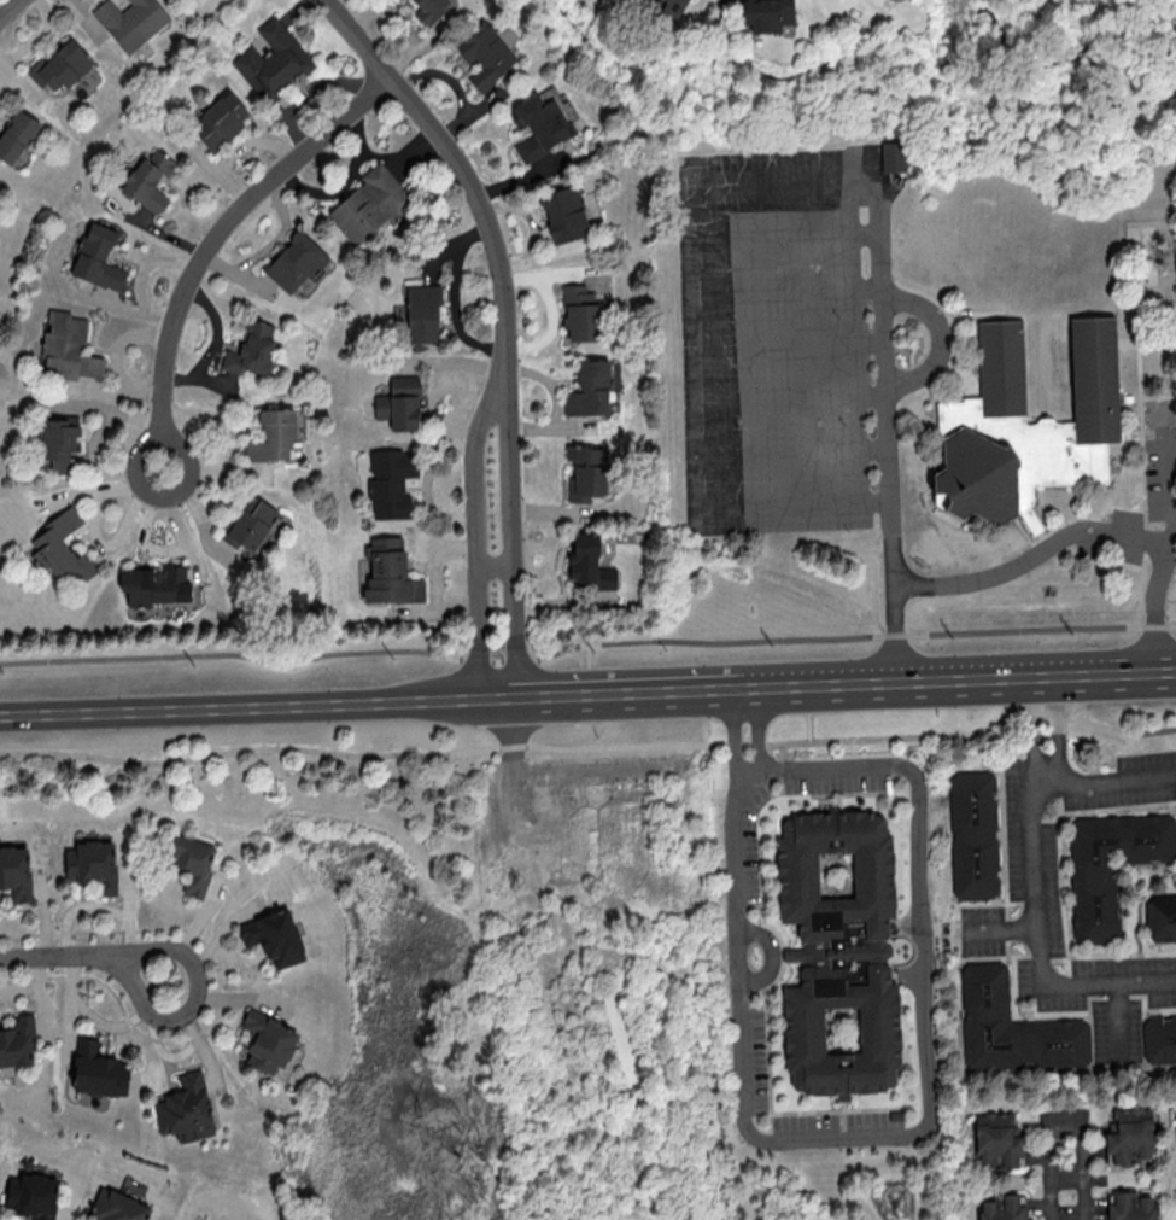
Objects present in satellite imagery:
building: (673, 6)
building: (429, 8)
road: (11, 11)
building: (766, 14)
building: (130, 21)
building: (485, 53)
building: (273, 60)
building: (60, 66)
building: (220, 119)
building: (539, 124)
building: (17, 135)
building: (896, 162)
road: (791, 177)
building: (148, 179)
building: (370, 204)
building: (563, 214)
road: (218, 244)
building: (98, 257)
building: (296, 261)
building: (422, 311)
building: (579, 313)
road: (504, 319)
road: (942, 344)
parking lot: (779, 345)
building: (68, 346)
building: (252, 349)
building: (589, 389)
building: (399, 403)
building: (275, 433)
building: (1029, 434)
building: (60, 439)
building: (587, 471)
building: (391, 481)
parking lot: (1143, 516)
building: (250, 523)
road: (1086, 537)
building: (62, 549)
building: (589, 561)
building: (390, 571)
building: (156, 584)
road: (584, 644)
road: (586, 655)
road: (838, 683)
road: (251, 706)
road: (807, 725)
road: (591, 745)
road: (599, 767)
road: (780, 770)
road: (1110, 780)
road: (511, 793)
building: (973, 834)
building: (192, 862)
building: (92, 865)
building: (1110, 865)
building: (16, 871)
road: (1037, 897)
building: (1160, 917)
building: (274, 936)
building: (838, 951)
road: (30, 957)
road: (195, 974)
road: (1117, 1022)
building: (1012, 1027)
building: (1159, 1038)
building: (17, 1041)
building: (268, 1041)
building: (98, 1069)
building: (185, 1107)
road: (1073, 1127)
building: (1129, 1133)
road: (876, 1136)
building: (997, 1139)
building: (33, 1195)
building: (1131, 1206)
building: (117, 1207)
building: (1002, 1207)

